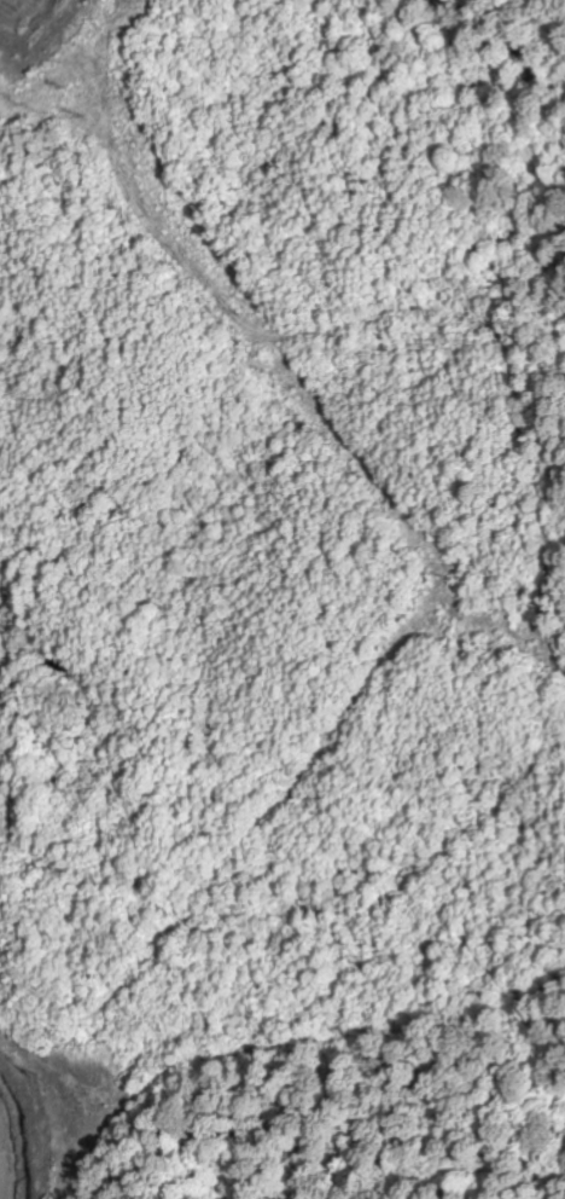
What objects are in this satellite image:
road: (357, 319)
road: (291, 1045)

